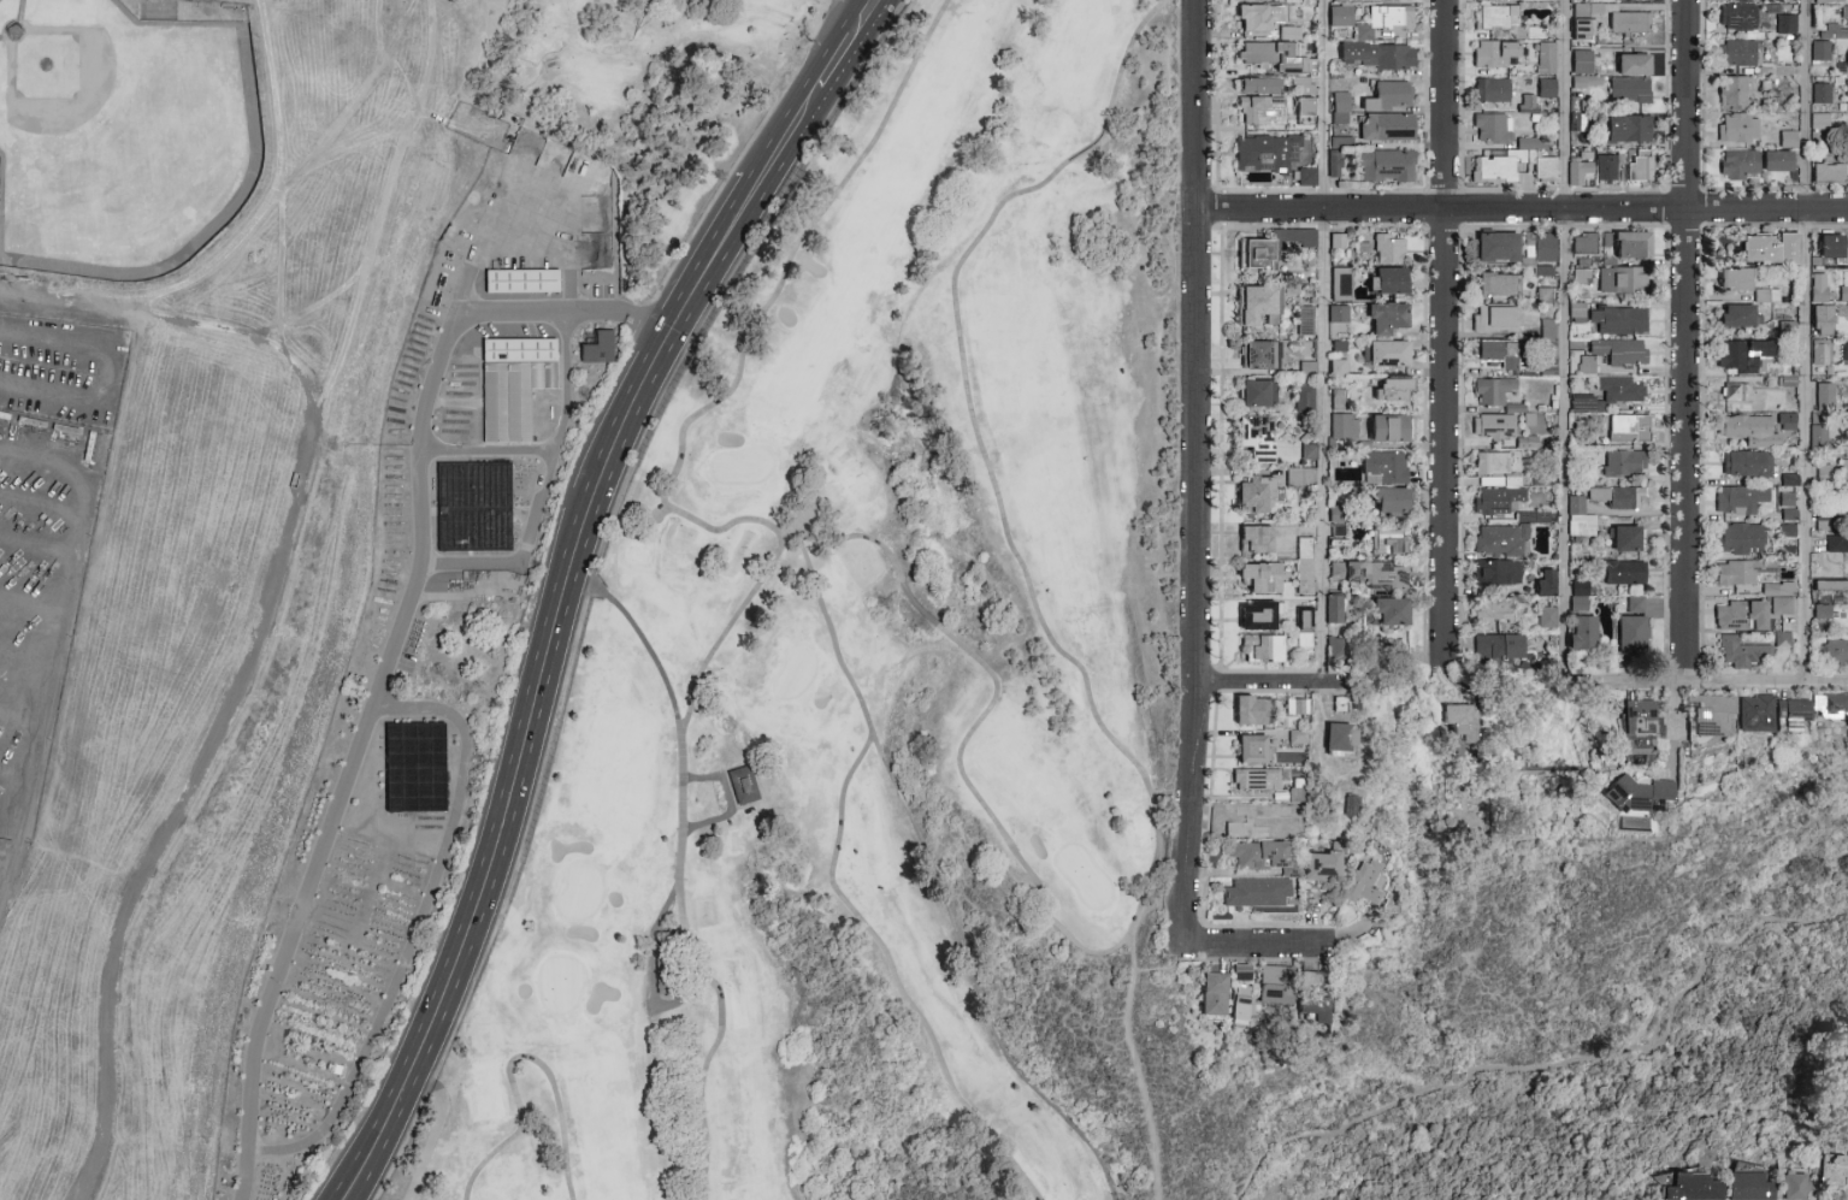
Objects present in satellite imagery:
parking lot: (836, 0)
building: (1252, 0)
building: (1338, 0)
building: (1829, 1)
building: (1844, 12)
building: (1341, 16)
building: (1262, 17)
building: (1496, 17)
building: (1738, 18)
road: (850, 20)
building: (1386, 20)
building: (1629, 24)
building: (1787, 26)
building: (1583, 30)
building: (1289, 32)
building: (1533, 32)
building: (1826, 42)
park: (554, 46)
building: (1495, 53)
building: (1273, 57)
building: (1388, 58)
building: (1546, 59)
road: (421, 61)
building: (1582, 63)
building: (1755, 63)
building: (1634, 65)
building: (1587, 82)
building: (1300, 83)
building: (1260, 85)
building: (1547, 88)
building: (1629, 89)
building: (1493, 90)
building: (1847, 90)
building: (1734, 91)
road: (1217, 94)
building: (1822, 94)
building: (1391, 96)
road: (348, 97)
building: (1341, 105)
building: (1262, 110)
building: (1306, 111)
building: (1820, 122)
road: (406, 125)
park: (685, 125)
building: (1388, 128)
building: (1493, 128)
building: (1738, 128)
building: (1630, 129)
park: (122, 135)
building: (1789, 138)
building: (1534, 143)
building: (1267, 153)
building: (1777, 161)
building: (1333, 162)
building: (1387, 166)
building: (1740, 166)
building: (1607, 167)
building: (1580, 169)
building: (1494, 170)
building: (1546, 170)
building: (1639, 170)
building: (1829, 172)
road: (273, 173)
building: (1307, 177)
road: (1522, 207)
building: (1336, 240)
building: (1583, 244)
building: (1634, 246)
building: (1498, 247)
building: (1540, 248)
building: (1771, 248)
building: (1389, 249)
building: (1832, 249)
building: (1257, 254)
building: (1582, 261)
road: (213, 265)
building: (1581, 277)
building: (519, 279)
building: (1340, 279)
building: (1737, 279)
building: (1626, 280)
building: (1389, 282)
building: (1844, 284)
building: (1496, 285)
building: (1820, 288)
building: (1545, 295)
building: (1767, 296)
road: (353, 300)
building: (1259, 306)
building: (1841, 311)
building: (1338, 312)
building: (1577, 313)
building: (1740, 315)
building: (1387, 318)
building: (1495, 319)
building: (1619, 320)
building: (1824, 321)
building: (1548, 329)
road: (1445, 333)
road: (1322, 341)
road: (1805, 341)
road: (1561, 342)
road: (1684, 342)
building: (596, 347)
building: (1622, 351)
building: (1844, 351)
building: (1389, 354)
building: (1499, 354)
building: (1820, 354)
building: (1257, 355)
building: (1743, 356)
building: (1546, 365)
building: (1587, 365)
building: (1306, 367)
building: (512, 383)
building: (1393, 390)
building: (1493, 391)
building: (1736, 392)
building: (1258, 394)
building: (1612, 394)
building: (1825, 396)
building: (1303, 397)
building: (1338, 398)
building: (1787, 422)
building: (1342, 425)
building: (1743, 427)
building: (1392, 428)
building: (1629, 428)
building: (1492, 430)
building: (1820, 436)
building: (1257, 438)
road: (488, 450)
building: (1623, 465)
building: (1747, 466)
building: (1386, 467)
building: (1492, 467)
building: (1844, 469)
road: (1199, 473)
building: (1298, 478)
road: (544, 487)
building: (1256, 495)
building: (1620, 498)
building: (1740, 499)
building: (1391, 501)
building: (1495, 501)
parking lot: (43, 506)
building: (1533, 516)
building: (1580, 519)
building: (1824, 520)
building: (1338, 530)
building: (1256, 538)
building: (1626, 539)
building: (1741, 539)
building: (1501, 540)
building: (1389, 542)
building: (1837, 544)
building: (1305, 555)
building: (1741, 572)
building: (1372, 573)
building: (1499, 573)
building: (1625, 573)
building: (1260, 578)
road: (566, 580)
building: (1546, 583)
building: (1831, 585)
road: (87, 589)
building: (1777, 589)
building: (1578, 596)
park: (585, 598)
building: (1783, 607)
building: (1334, 609)
building: (1495, 611)
building: (1392, 613)
road: (926, 614)
building: (1259, 614)
road: (734, 616)
building: (1741, 616)
building: (1547, 617)
building: (1305, 628)
building: (1633, 632)
building: (1583, 633)
building: (1783, 639)
road: (254, 640)
building: (1499, 648)
building: (1262, 649)
building: (1339, 649)
building: (1742, 652)
road: (390, 655)
building: (1836, 656)
road: (838, 657)
road: (1279, 681)
park: (864, 684)
road: (1626, 684)
road: (1766, 684)
building: (1835, 703)
building: (1298, 707)
building: (1254, 710)
building: (1794, 710)
building: (1757, 713)
building: (1711, 716)
building: (1641, 717)
building: (1458, 721)
road: (1675, 726)
road: (678, 735)
building: (1295, 735)
building: (1340, 739)
building: (1253, 747)
building: (412, 765)
building: (1256, 780)
building: (742, 784)
building: (1640, 794)
building: (1350, 806)
building: (1256, 812)
building: (1244, 830)
building: (1260, 855)
building: (1322, 867)
road: (7, 877)
building: (1363, 883)
building: (1256, 893)
road: (414, 927)
road: (1122, 945)
road: (1257, 946)
building: (1242, 973)
building: (1275, 985)
building: (1215, 997)
building: (1313, 997)
building: (1244, 1004)
road: (721, 1009)
road: (727, 1041)
road: (1139, 1054)
road: (1557, 1059)
road: (515, 1098)
road: (524, 1135)
road: (1008, 1158)
building: (1835, 1172)
building: (1749, 1187)
building: (1794, 1187)
building: (1693, 1188)

